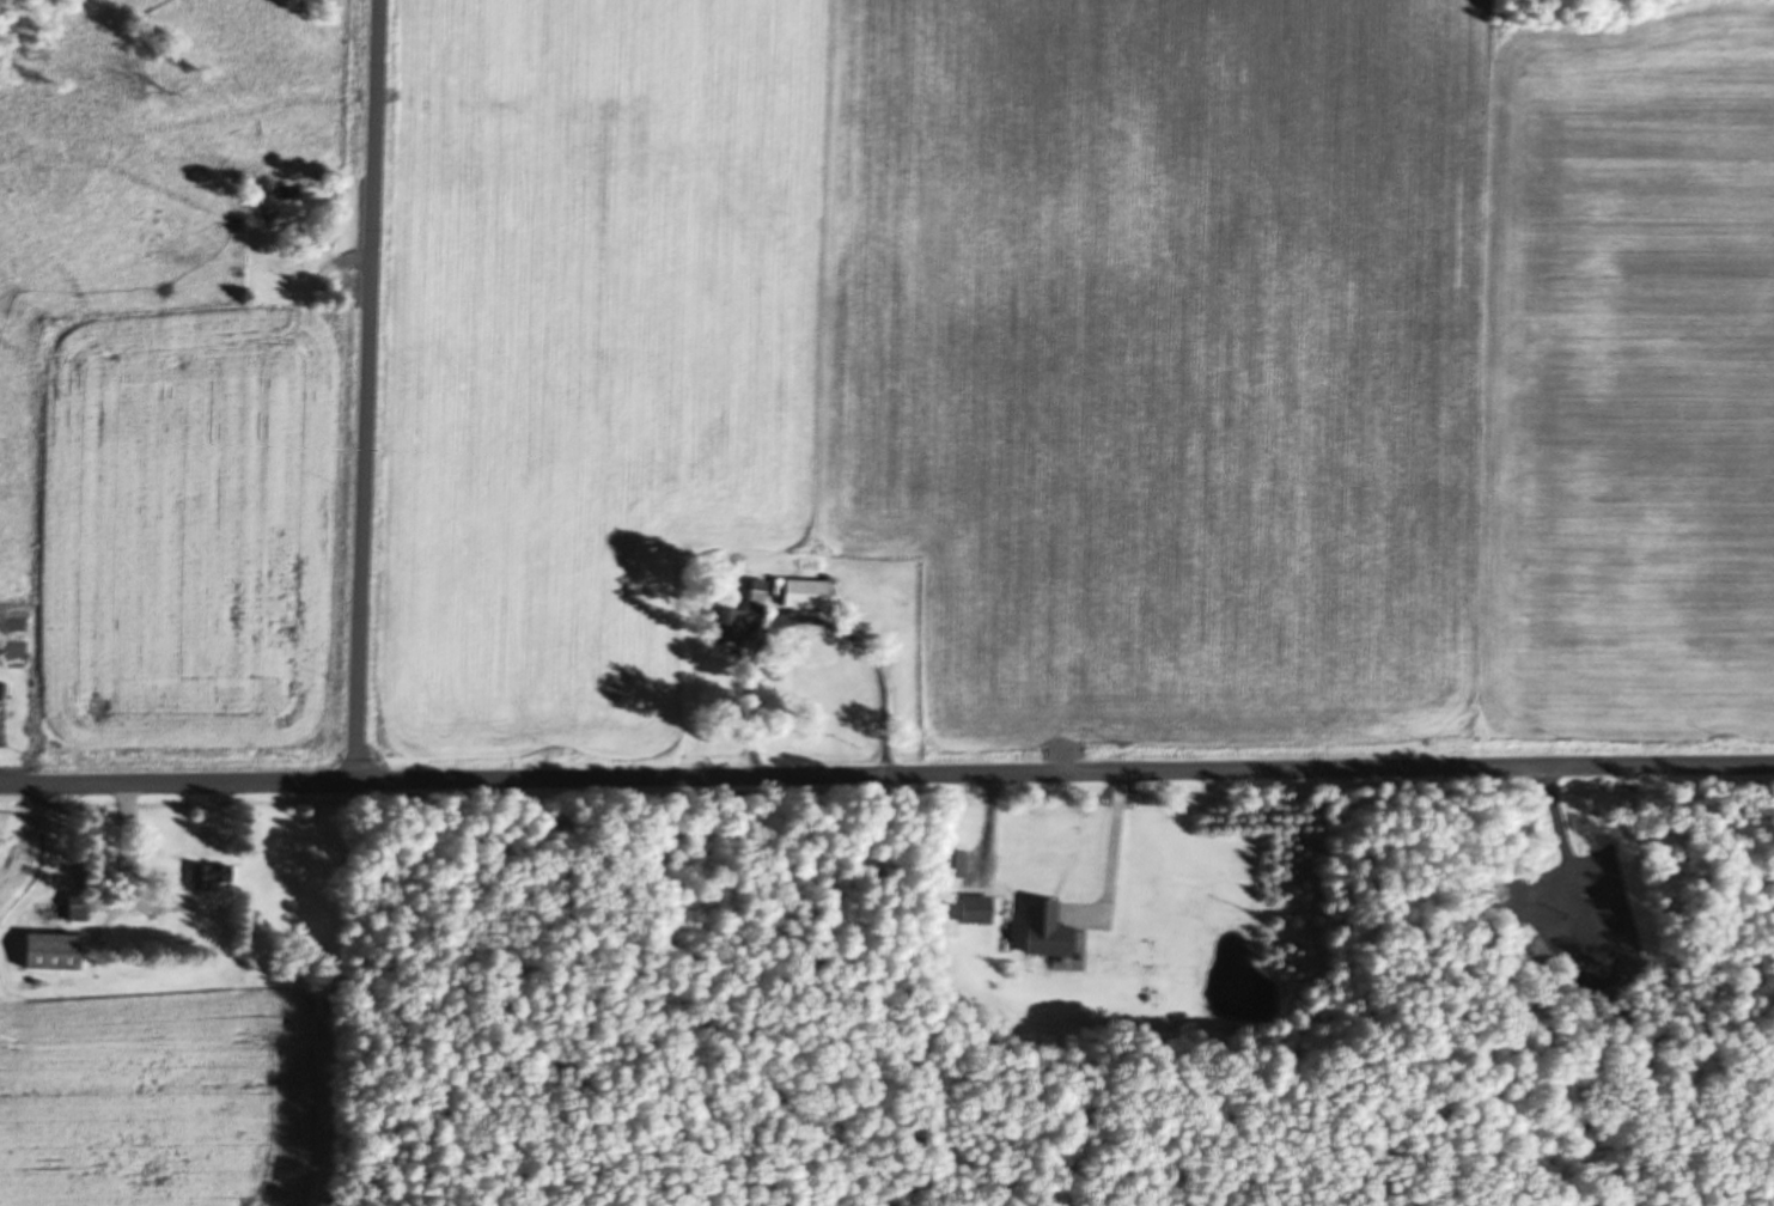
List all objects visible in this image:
road: (377, 390)
building: (764, 591)
building: (812, 595)
building: (738, 631)
building: (0, 686)
road: (886, 773)
building: (220, 872)
building: (85, 907)
building: (984, 907)
building: (1056, 930)
building: (61, 951)

